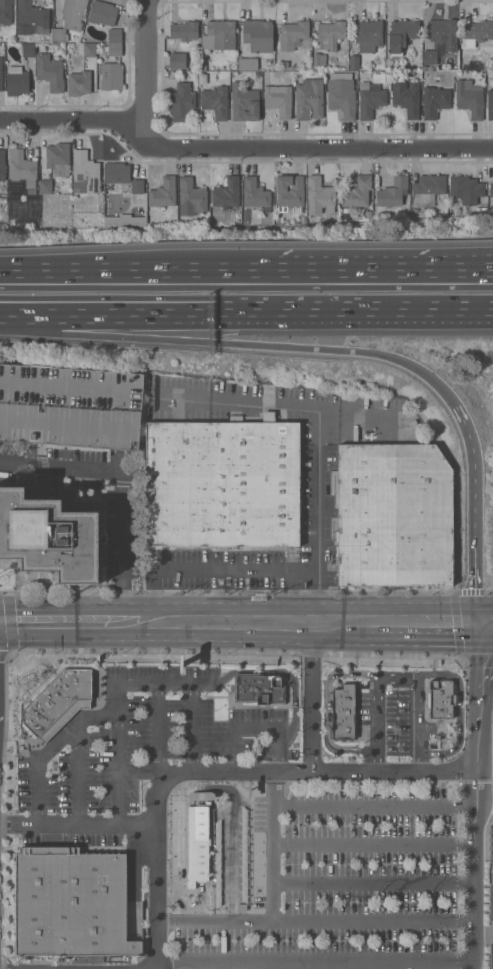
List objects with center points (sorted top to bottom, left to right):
building: (5, 11)
building: (73, 13)
building: (102, 13)
building: (31, 19)
building: (184, 30)
building: (479, 30)
building: (58, 35)
building: (114, 35)
building: (219, 35)
building: (294, 35)
building: (330, 35)
building: (368, 35)
building: (401, 35)
building: (257, 36)
building: (440, 39)
building: (28, 50)
building: (89, 50)
building: (113, 50)
building: (202, 59)
building: (319, 59)
building: (177, 61)
building: (354, 62)
building: (248, 64)
building: (285, 64)
building: (473, 64)
building: (202, 67)
building: (388, 67)
building: (50, 72)
building: (1, 74)
road: (148, 74)
building: (320, 74)
building: (111, 76)
building: (202, 79)
building: (17, 81)
building: (79, 83)
building: (406, 96)
building: (342, 97)
building: (309, 98)
building: (469, 98)
building: (278, 99)
building: (370, 99)
building: (181, 101)
building: (215, 101)
building: (435, 101)
building: (244, 102)
building: (490, 103)
road: (242, 148)
building: (58, 159)
building: (2, 165)
building: (22, 167)
building: (85, 172)
building: (124, 180)
building: (46, 187)
building: (427, 189)
building: (466, 189)
building: (30, 191)
building: (289, 192)
building: (357, 192)
building: (393, 192)
building: (491, 192)
building: (163, 193)
building: (227, 193)
building: (255, 194)
building: (319, 195)
building: (191, 197)
building: (23, 209)
building: (245, 214)
building: (368, 215)
building: (214, 220)
road: (338, 271)
road: (92, 272)
road: (106, 311)
road: (352, 311)
road: (108, 336)
road: (345, 351)
building: (69, 408)
road: (279, 409)
building: (220, 484)
road: (123, 489)
road: (474, 514)
building: (396, 515)
road: (319, 519)
building: (50, 536)
road: (207, 570)
road: (454, 622)
road: (69, 627)
road: (249, 627)
road: (12, 628)
road: (419, 628)
traffic signals: (479, 628)
road: (486, 628)
road: (481, 670)
road: (241, 671)
building: (264, 693)
road: (487, 695)
building: (58, 699)
road: (312, 699)
building: (444, 704)
road: (378, 706)
road: (461, 713)
building: (346, 717)
road: (420, 722)
road: (193, 727)
road: (257, 727)
road: (159, 732)
road: (50, 748)
road: (119, 753)
road: (246, 770)
road: (79, 774)
road: (205, 788)
road: (375, 806)
road: (77, 825)
building: (198, 844)
road: (372, 844)
road: (272, 845)
road: (231, 853)
road: (472, 862)
road: (372, 884)
building: (75, 904)
road: (315, 921)
road: (315, 962)

